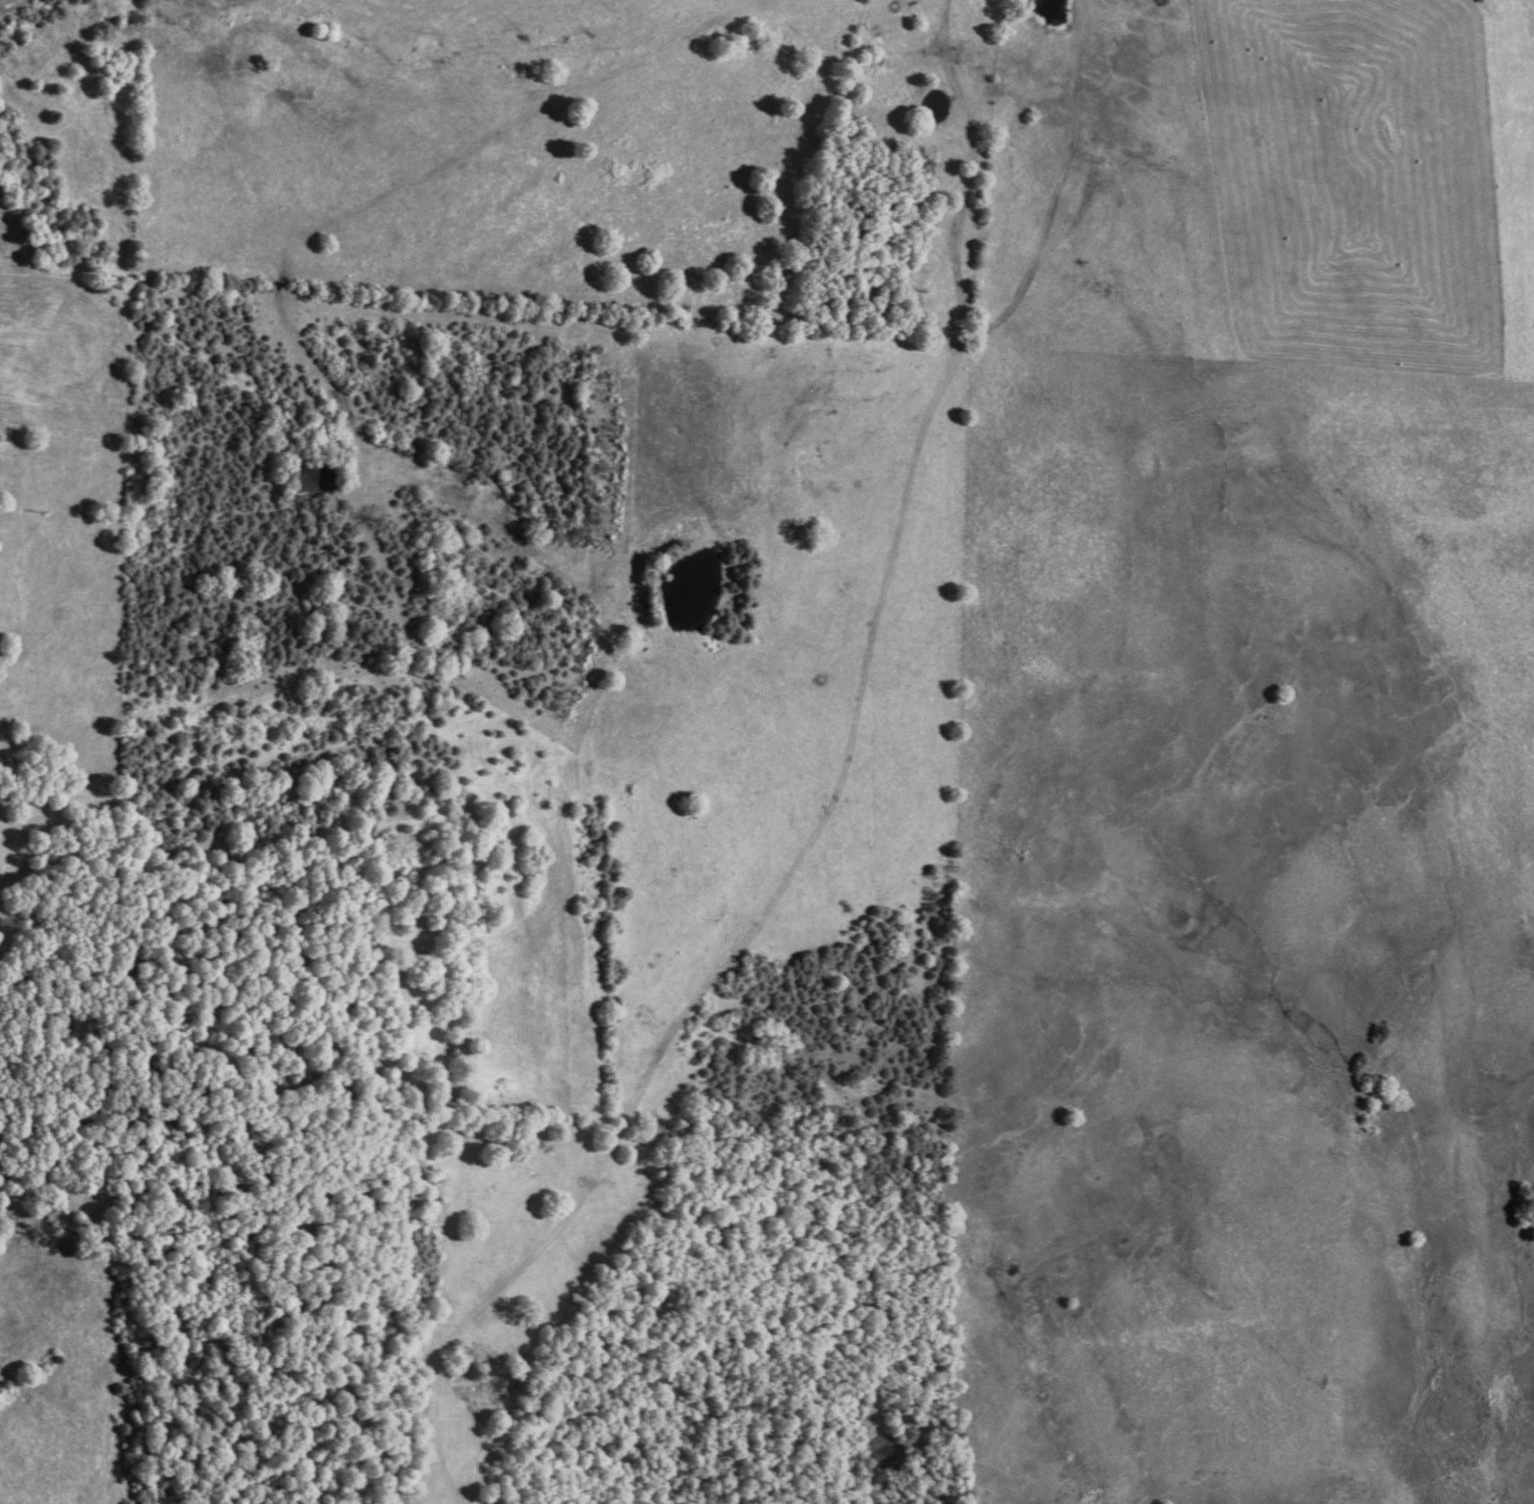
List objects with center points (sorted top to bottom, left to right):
building: (863, 1)

